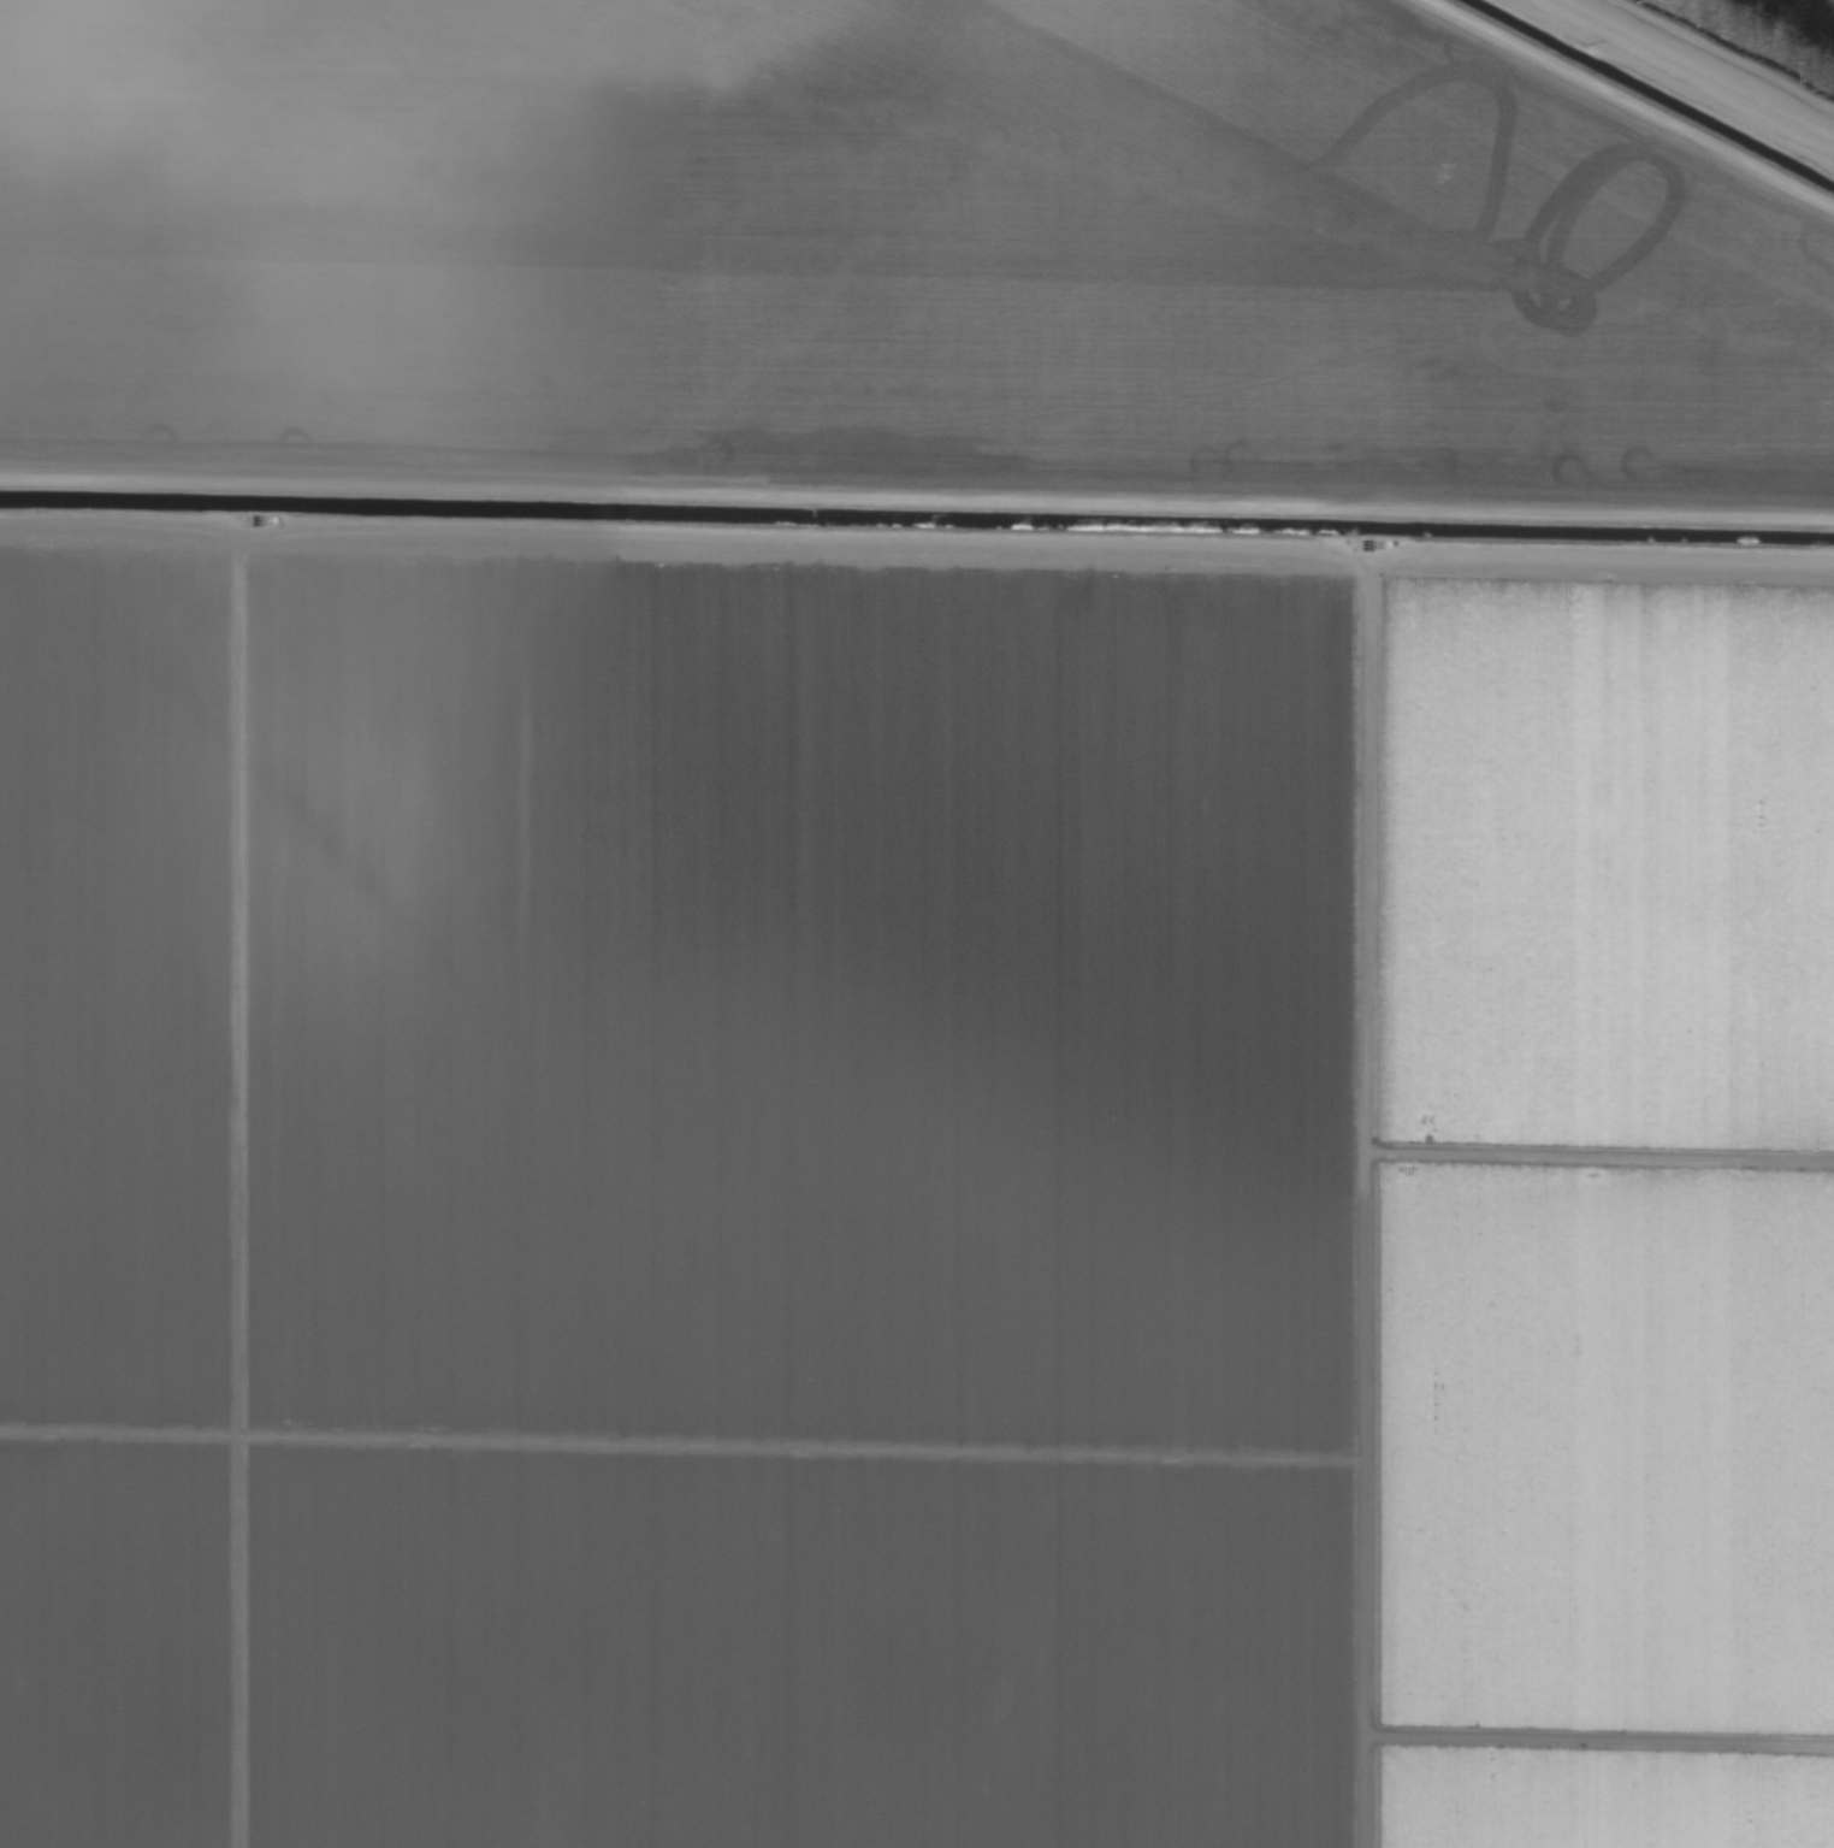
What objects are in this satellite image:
crop: (916, 925)

